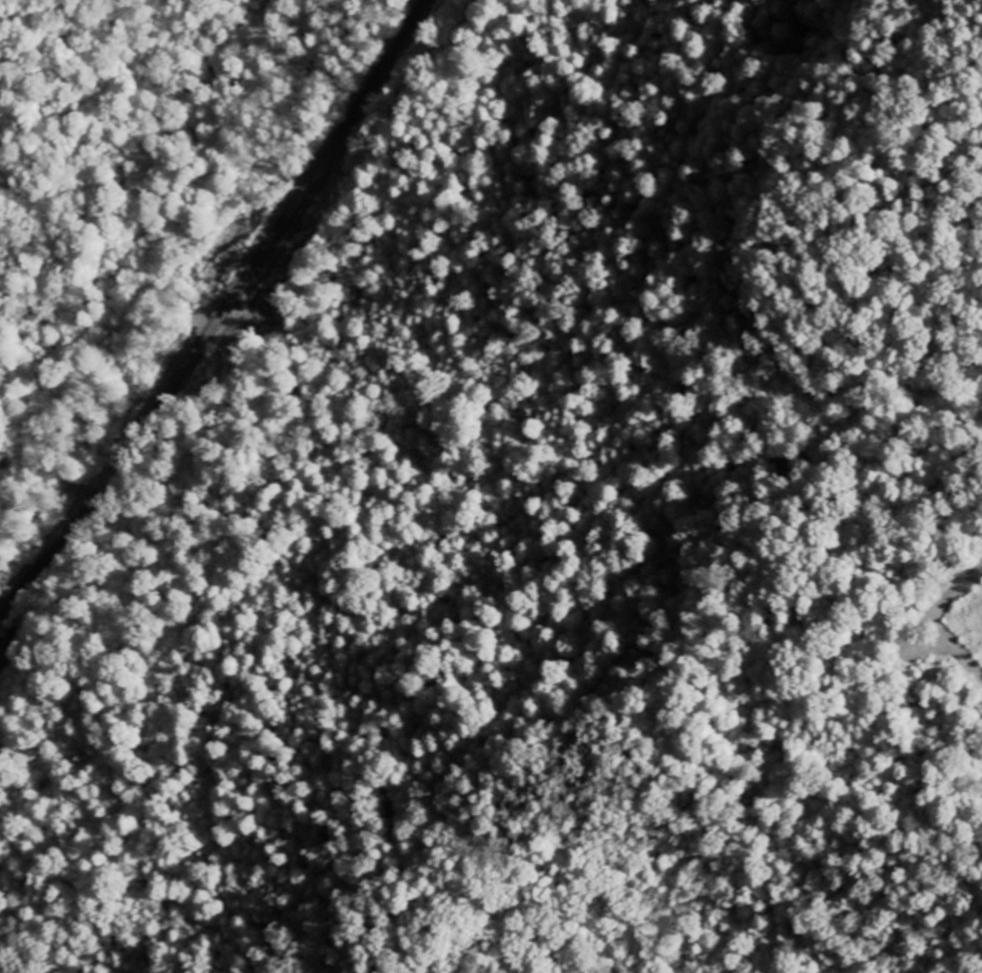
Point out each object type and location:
road: (478, 10)
road: (238, 321)

